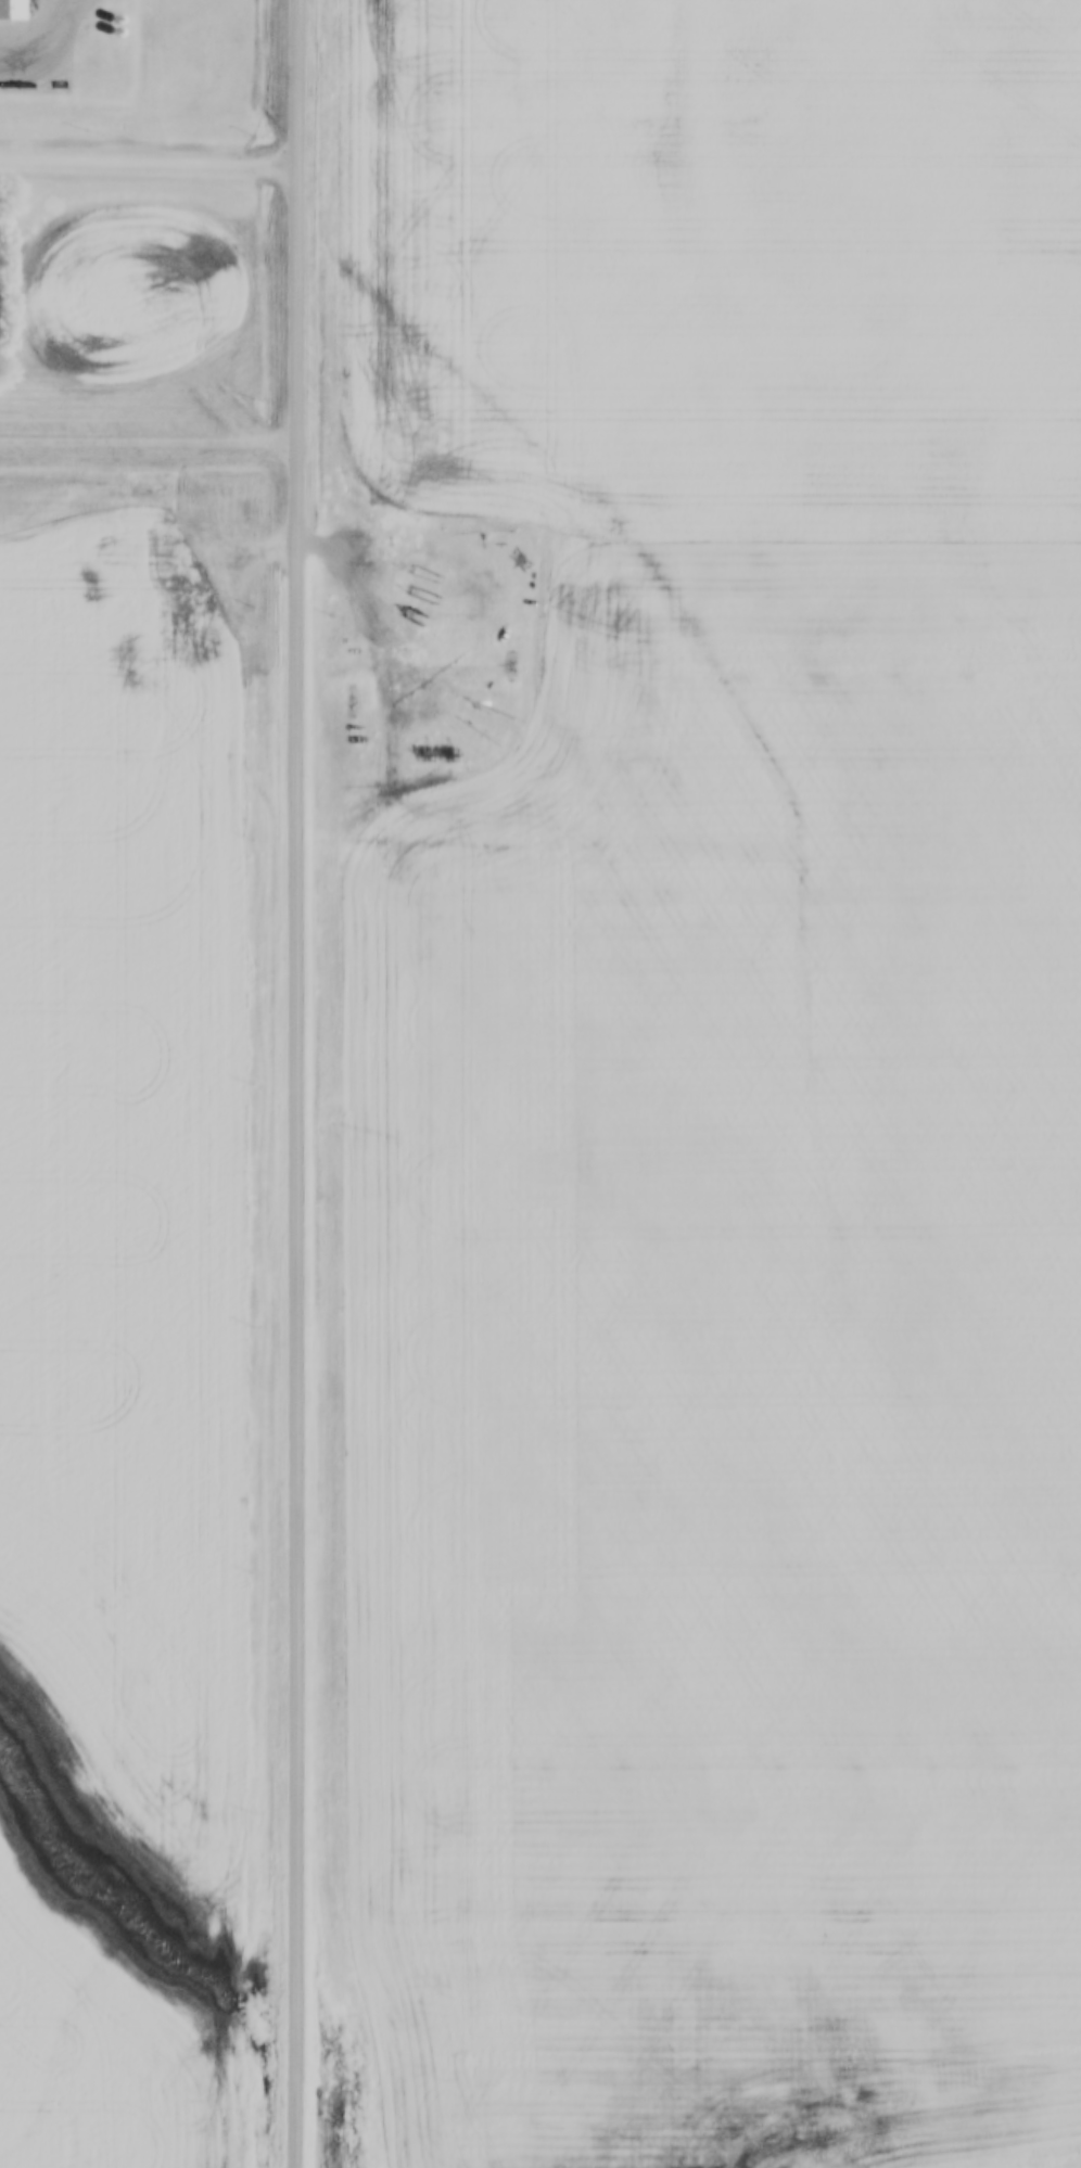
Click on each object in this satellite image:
building: (9, 8)
crop: (714, 257)

